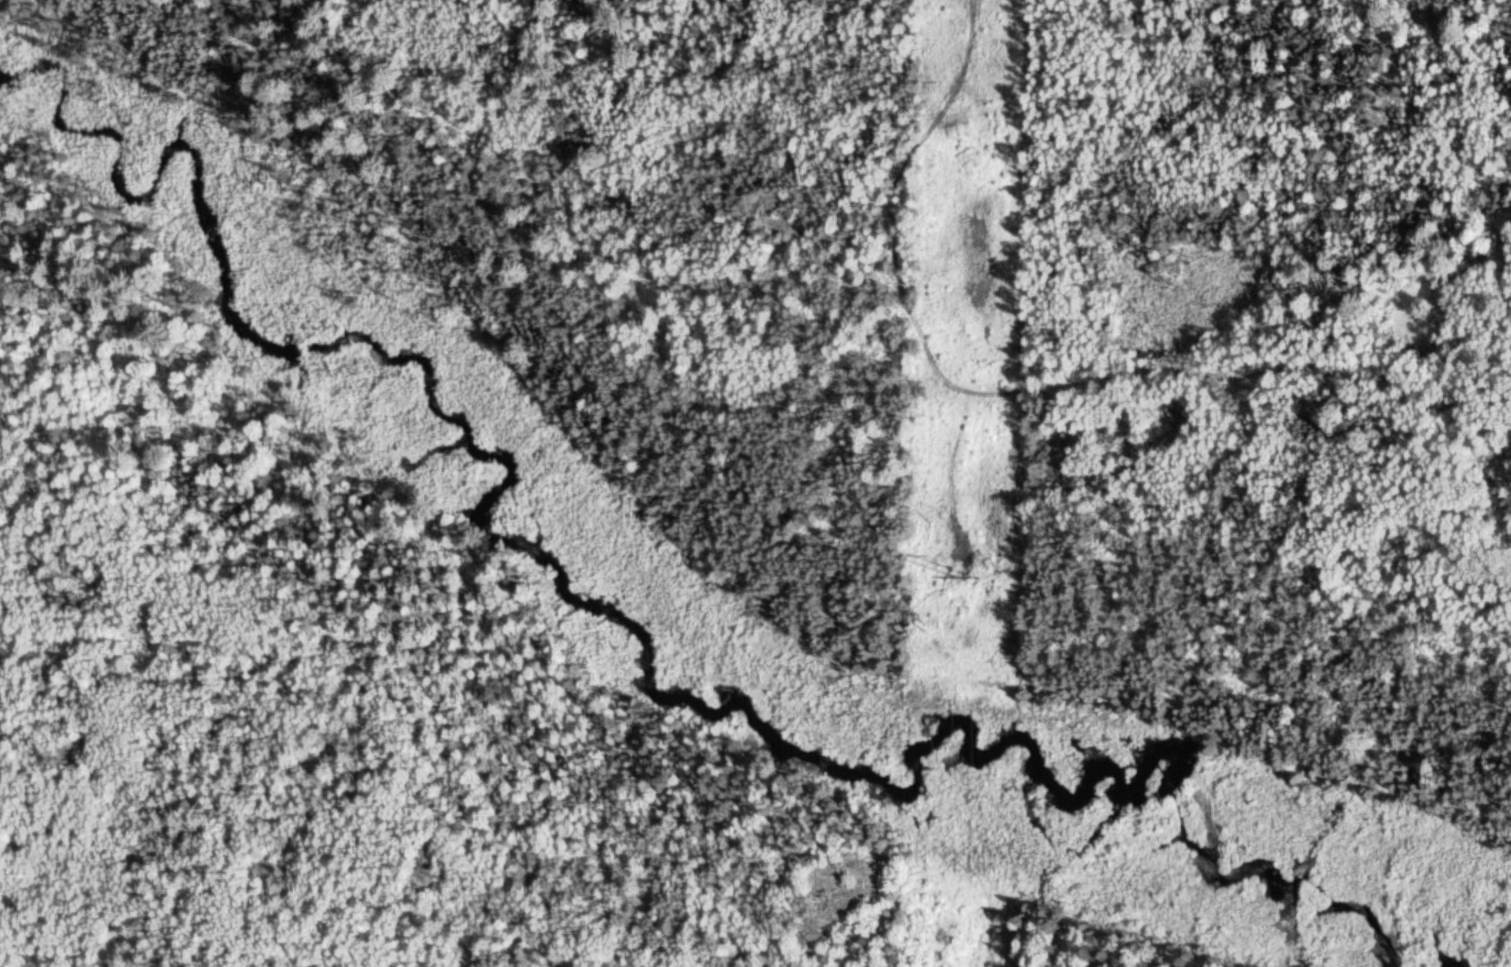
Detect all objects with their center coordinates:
road: (1050, 382)
power tower: (969, 576)

